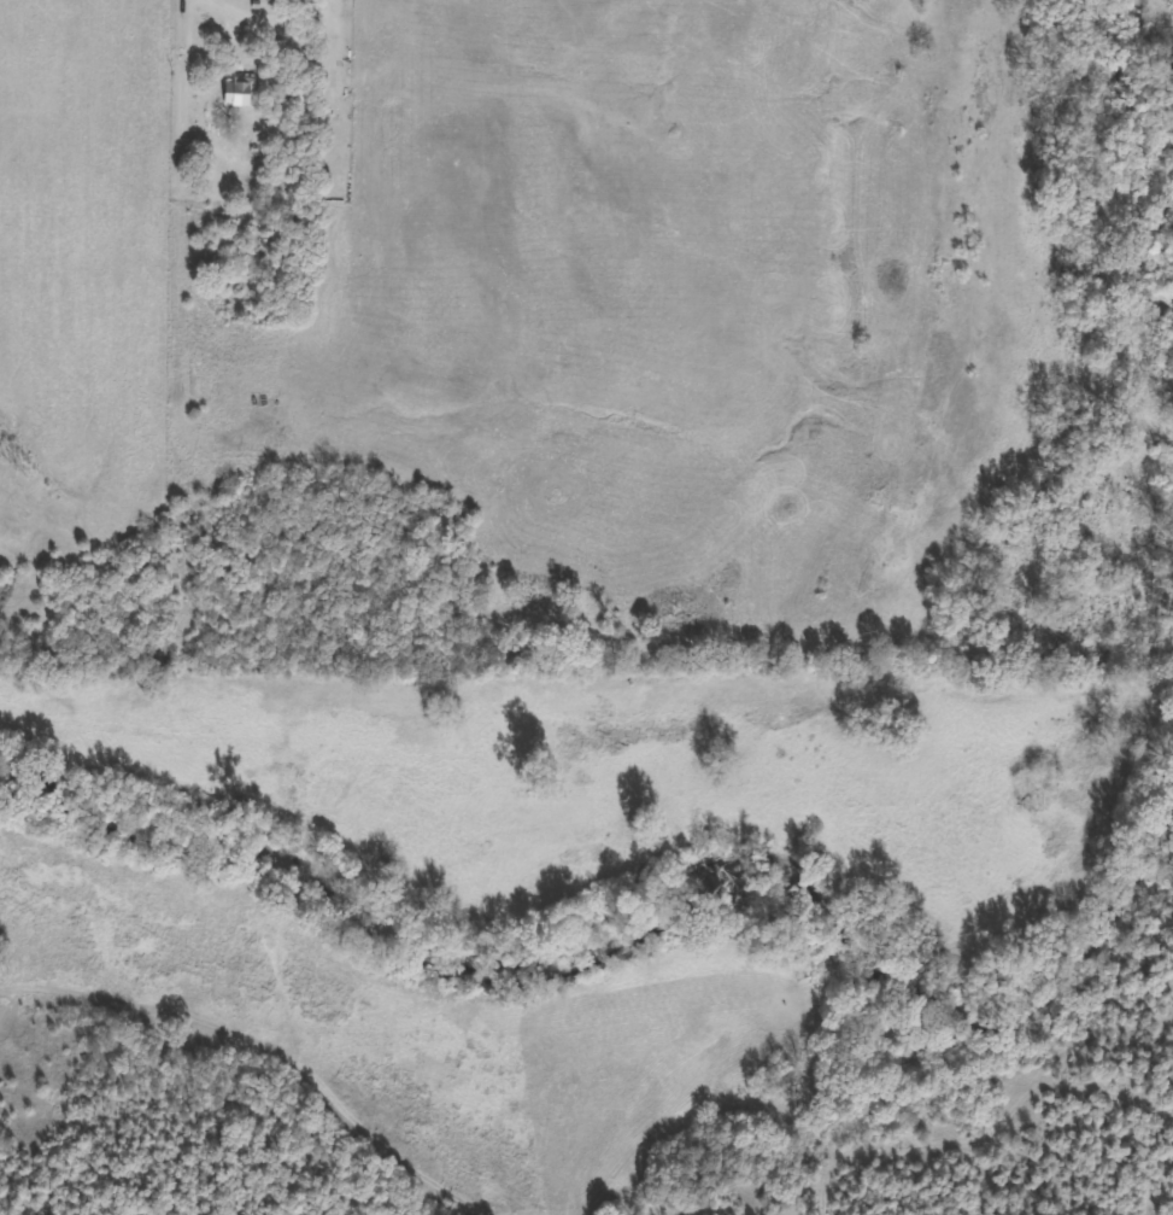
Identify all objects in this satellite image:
road: (222, 7)
road: (259, 1052)

